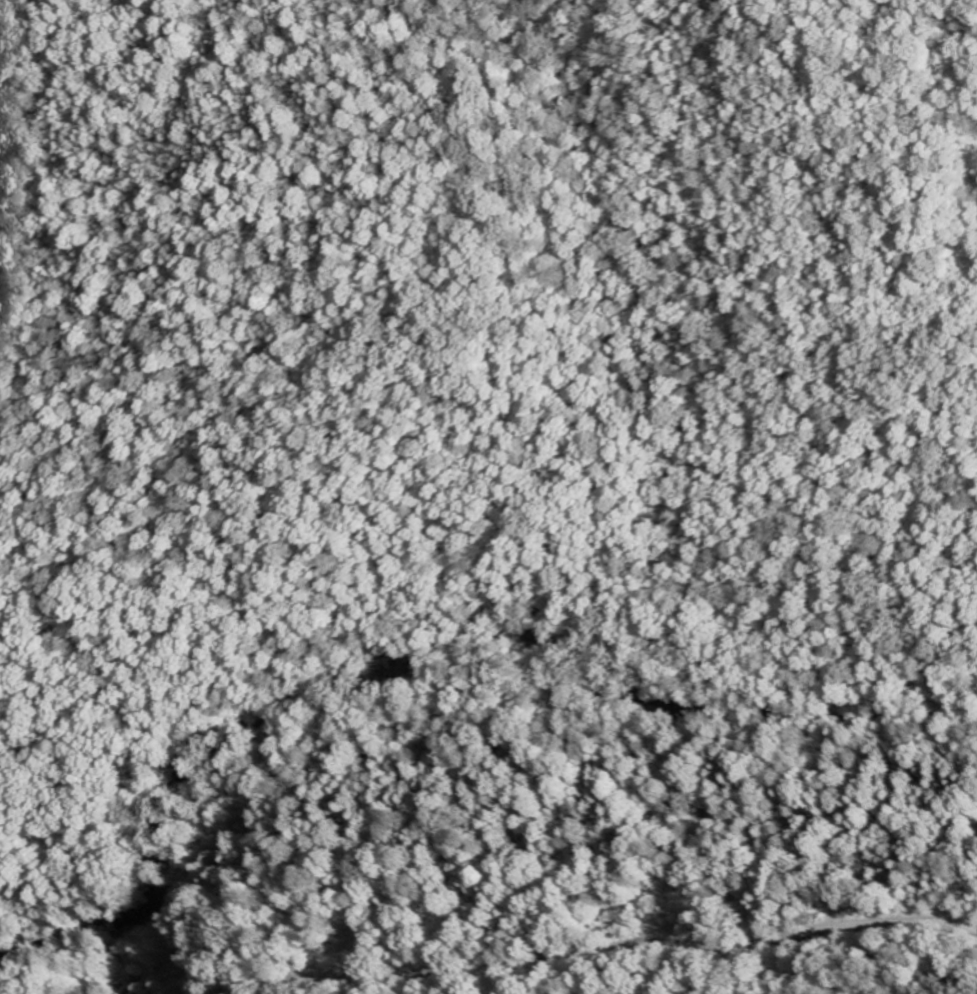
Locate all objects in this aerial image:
road: (606, 950)

